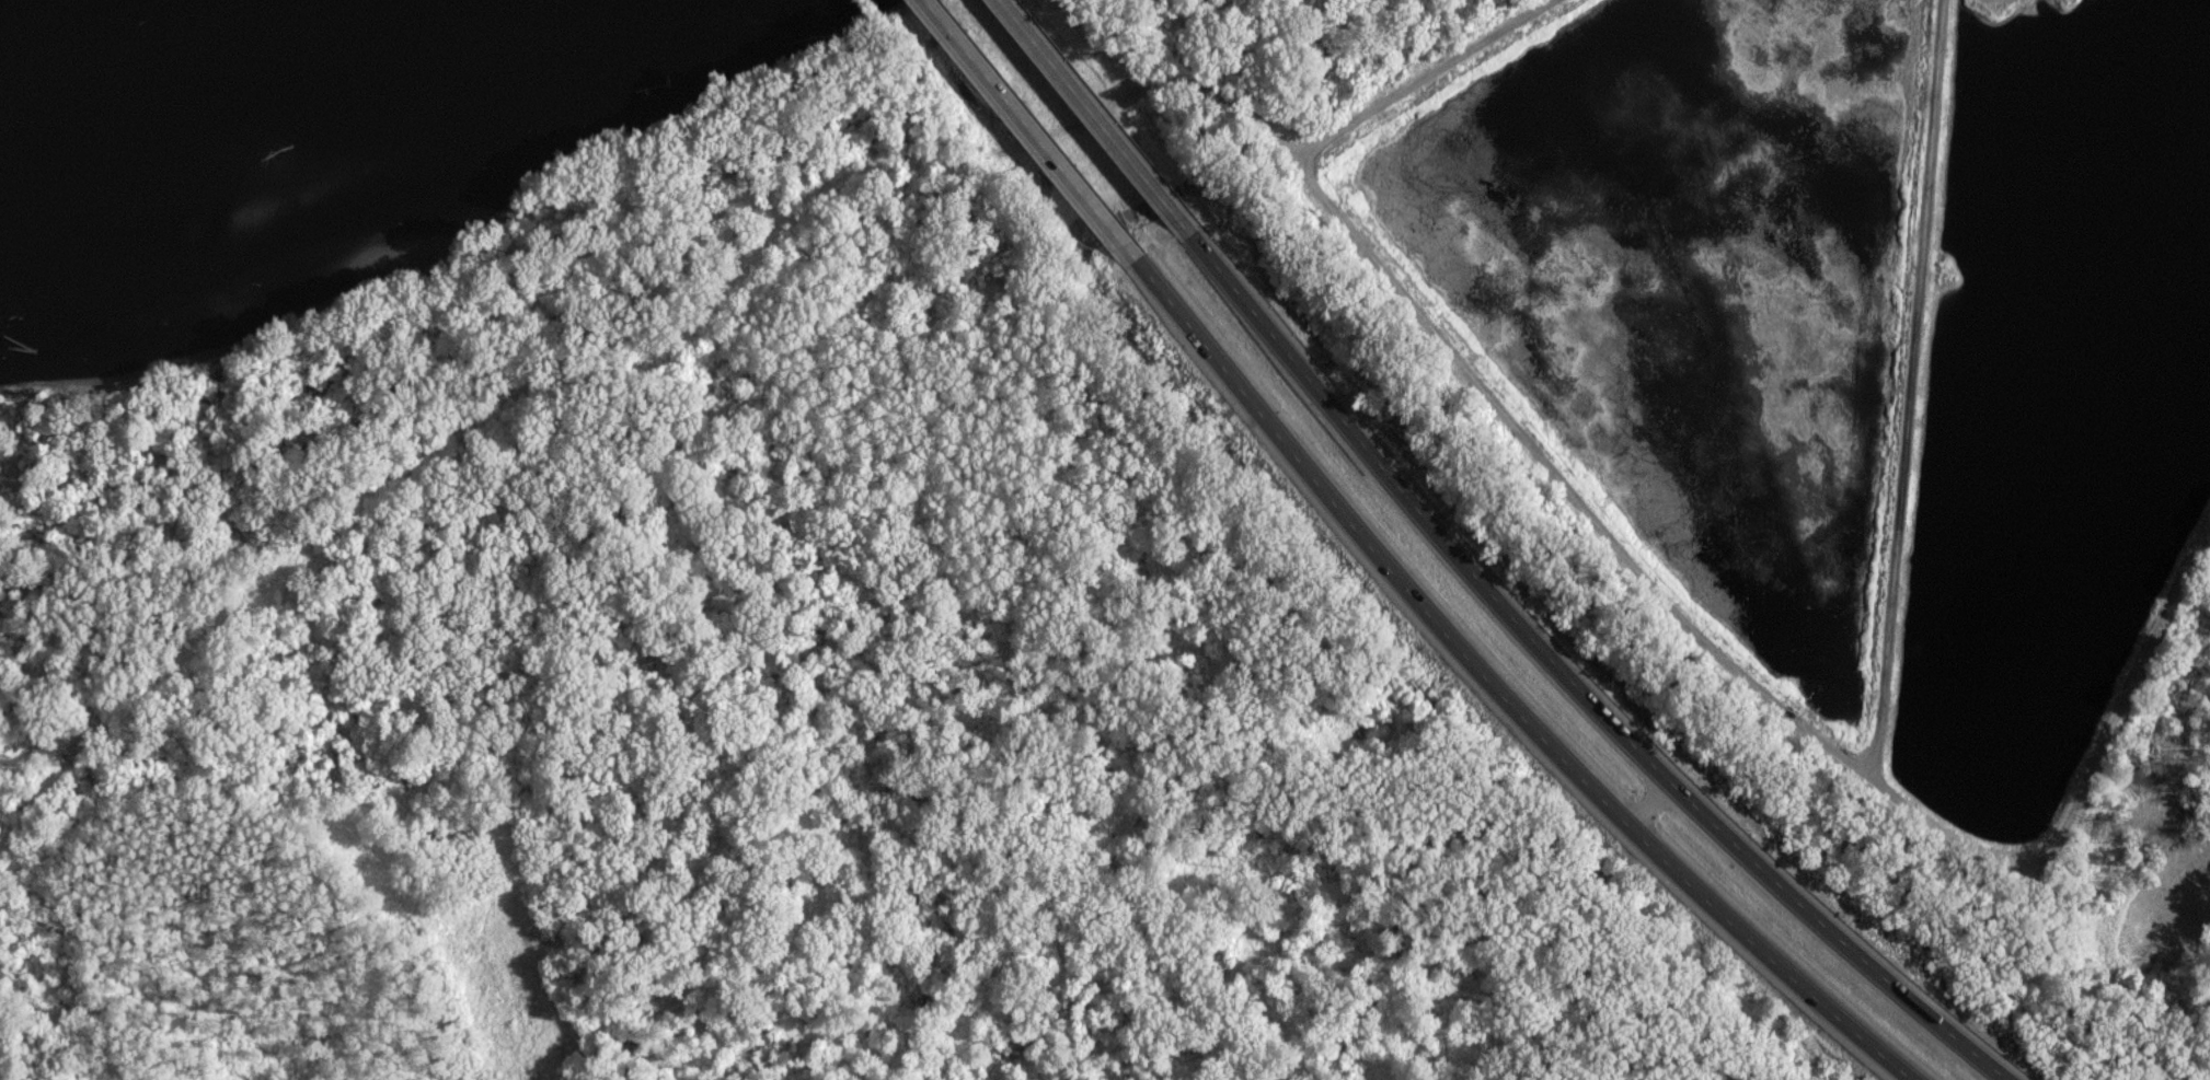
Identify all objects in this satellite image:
road: (1428, 77)
river: (223, 103)
road: (1102, 117)
road: (1045, 146)
road: (1365, 441)
road: (1326, 491)
road: (1607, 709)
road: (1563, 757)
road: (1649, 800)
road: (1734, 831)
road: (1685, 879)
road: (1903, 988)
road: (1829, 1009)

